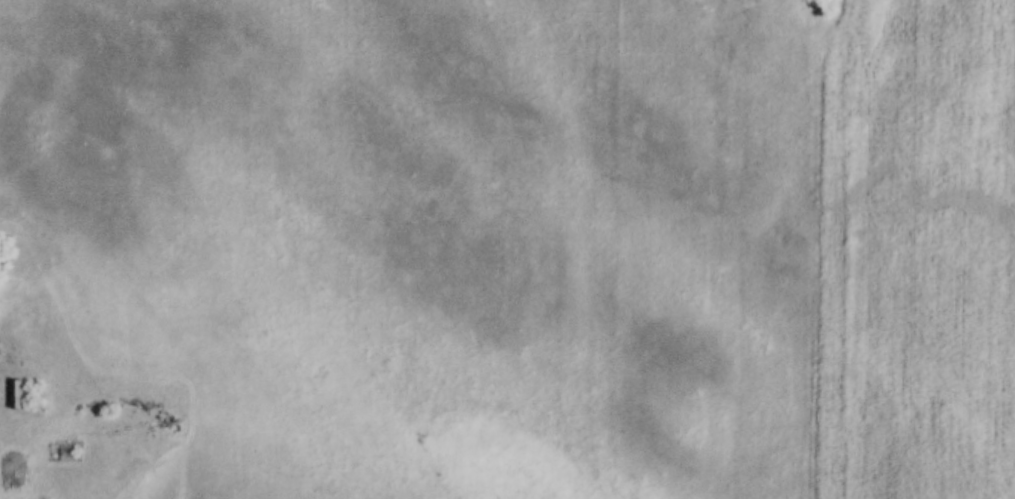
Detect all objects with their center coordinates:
road: (6, 366)
building: (15, 393)
building: (64, 450)

